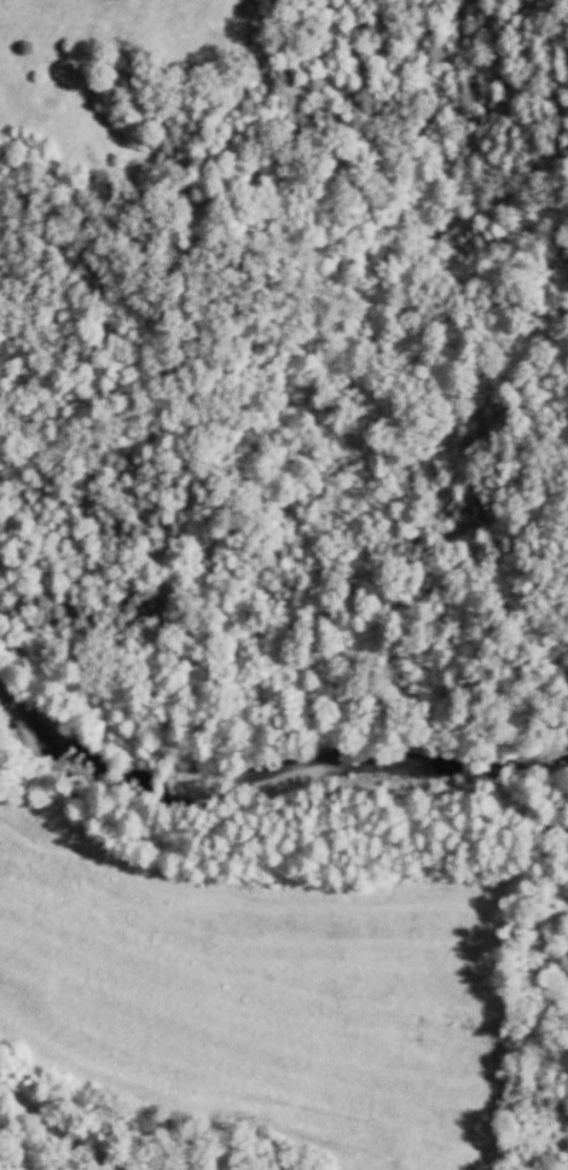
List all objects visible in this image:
river: (276, 792)
road: (95, 1117)

